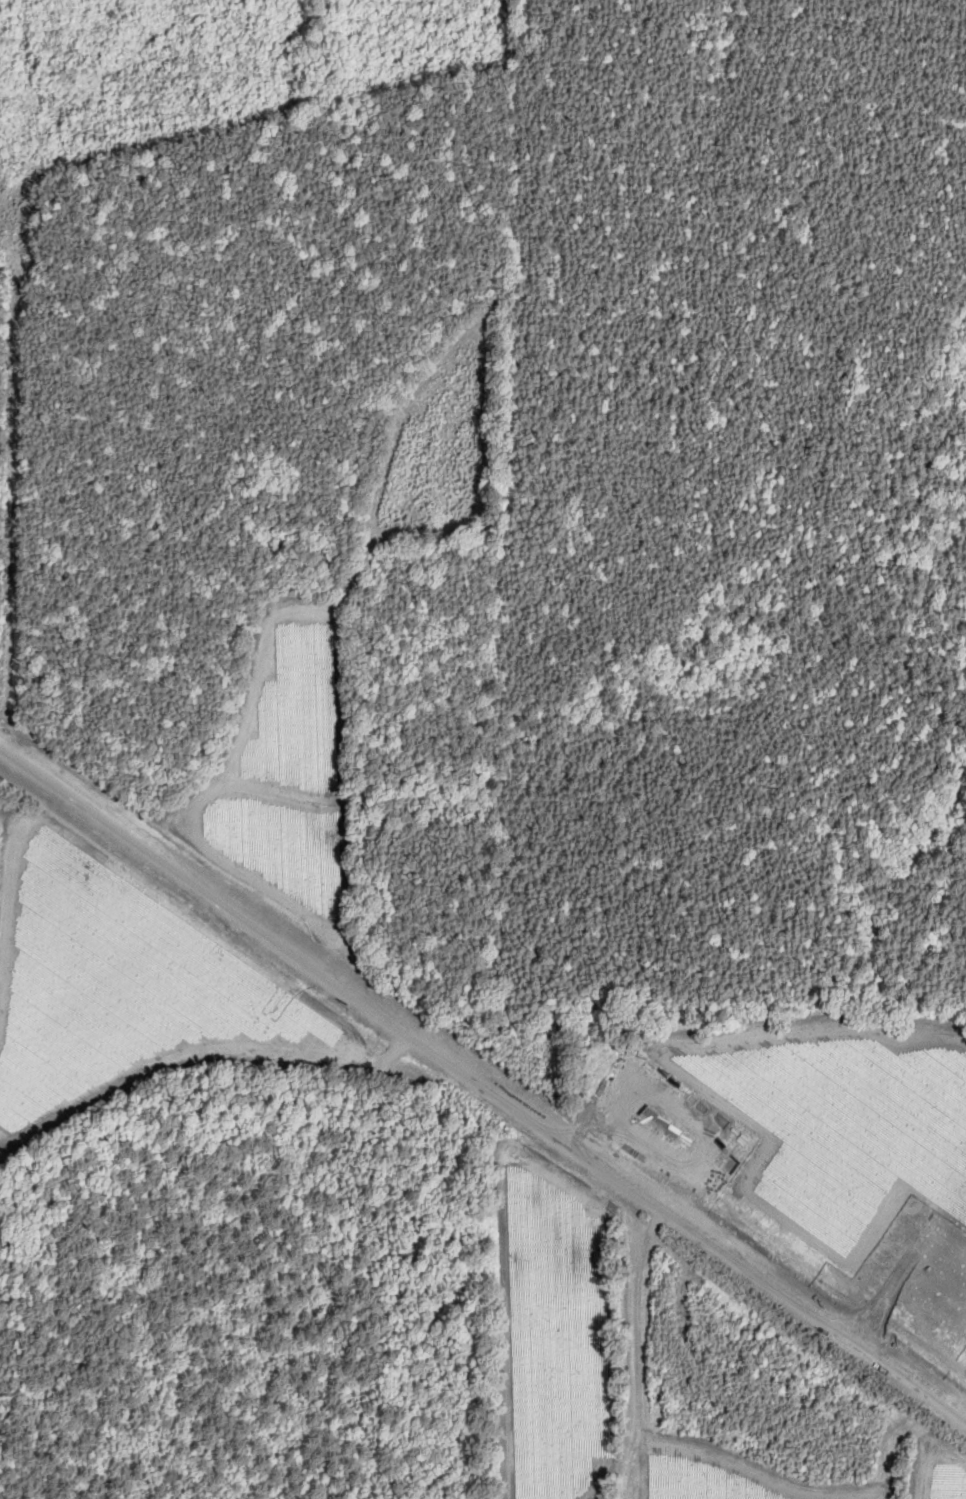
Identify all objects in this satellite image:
road: (483, 1085)

